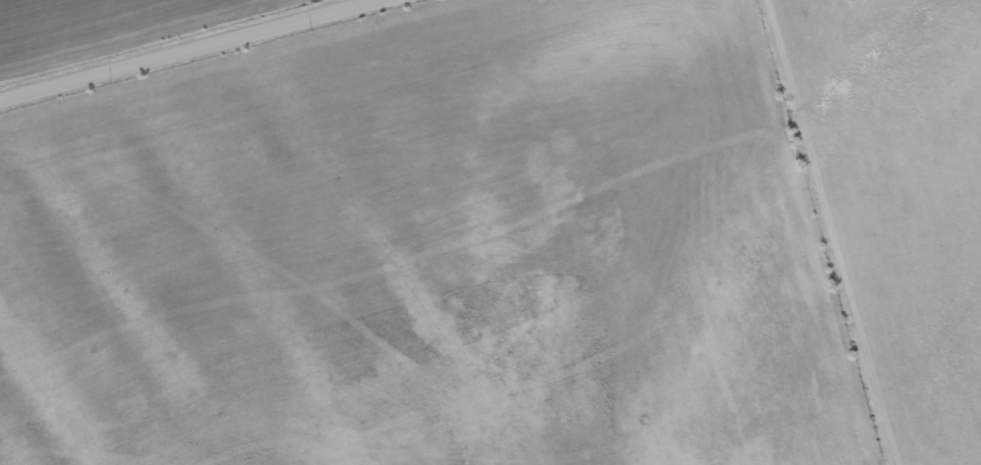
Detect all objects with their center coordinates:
road: (226, 59)

